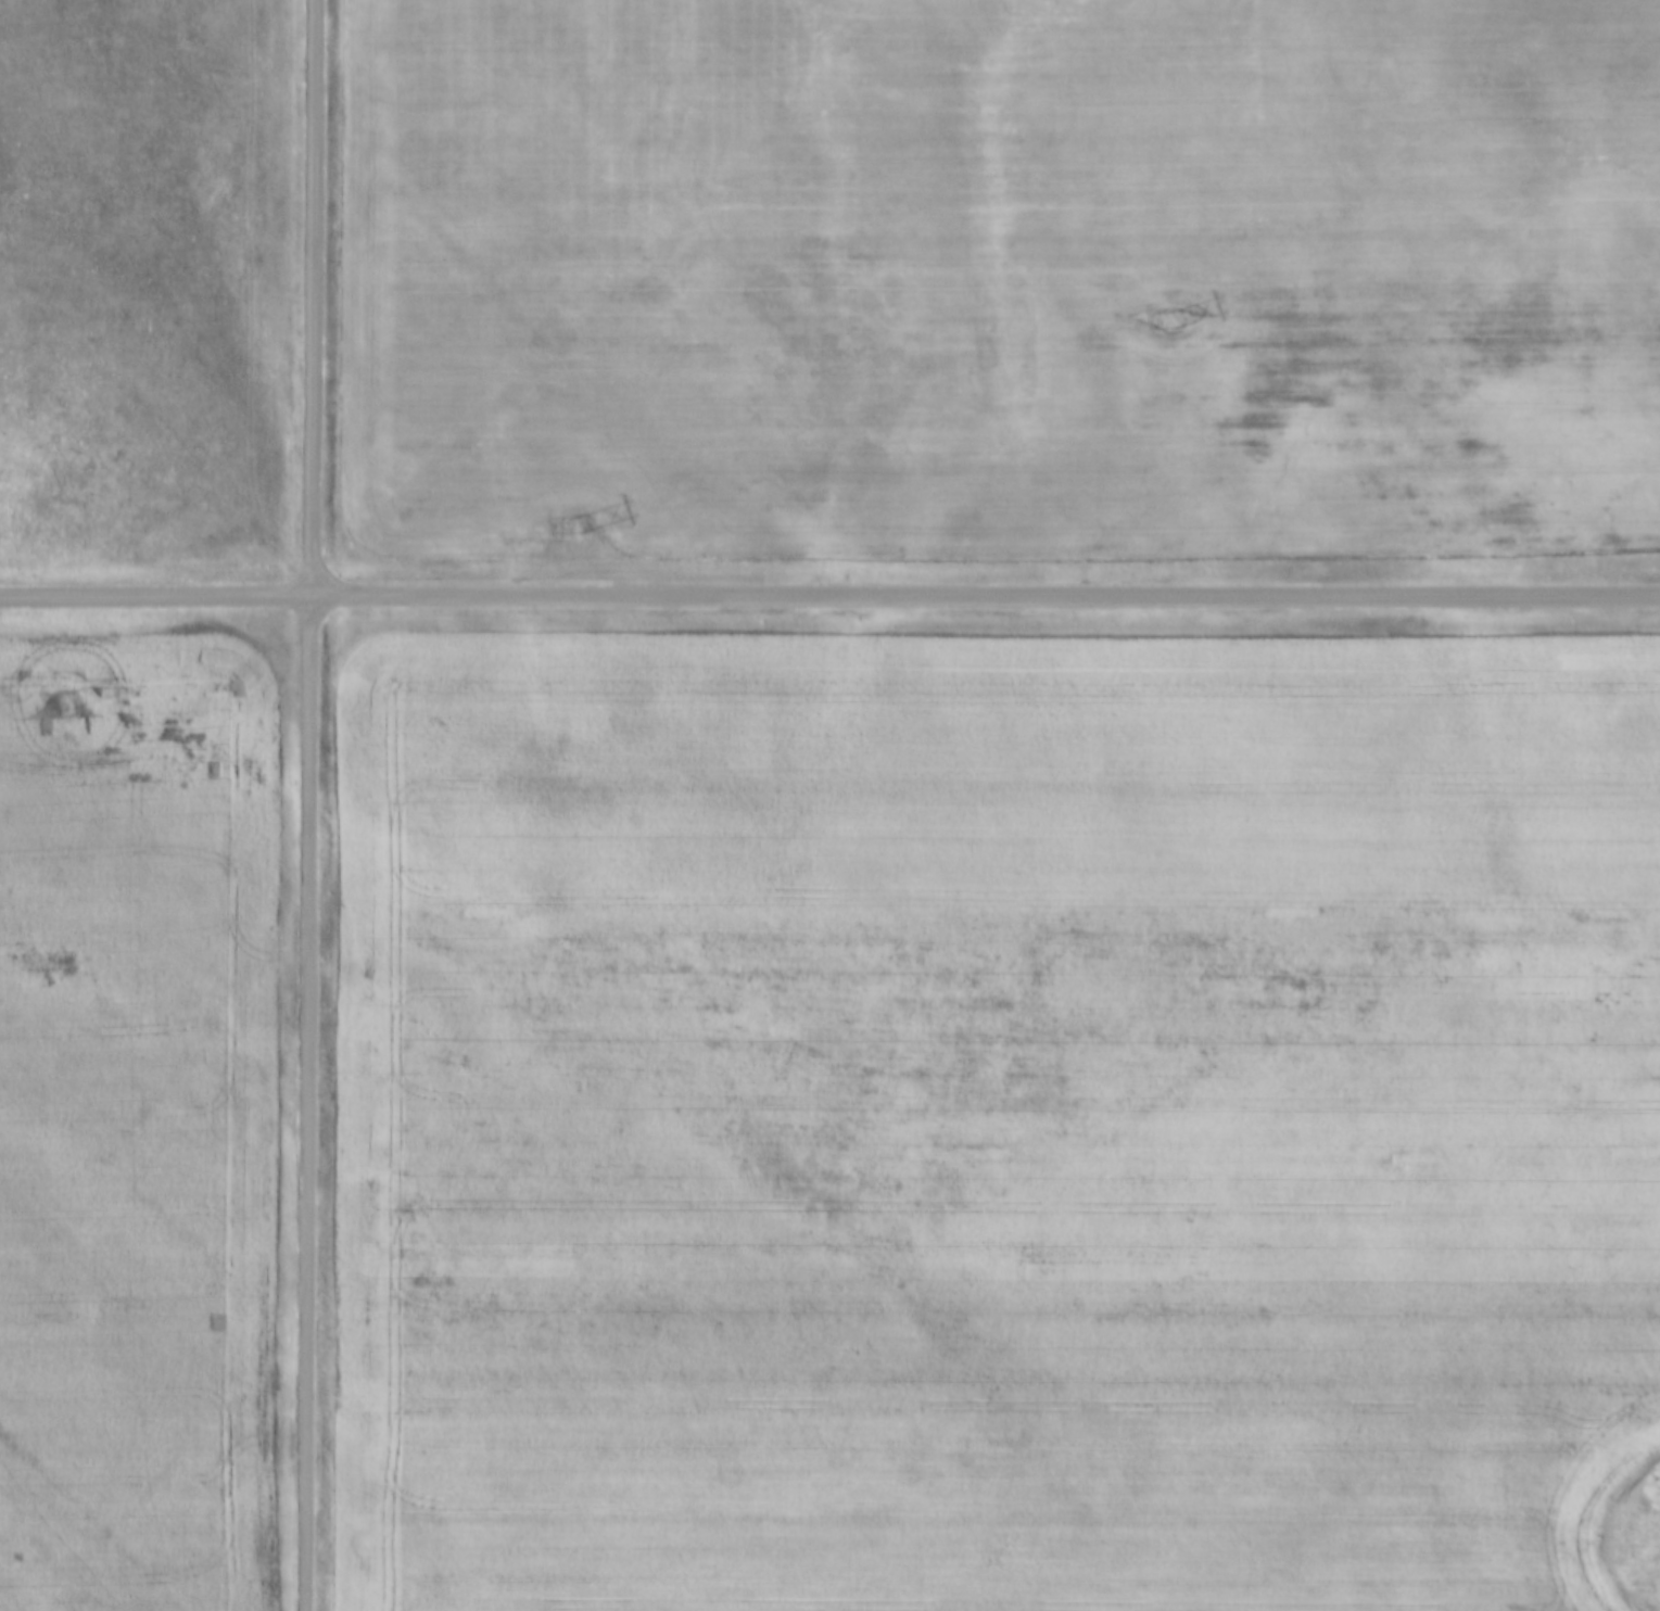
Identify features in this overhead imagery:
power tower: (1171, 318)
power tower: (579, 527)
road: (829, 592)
power tower: (71, 700)
road: (313, 804)

